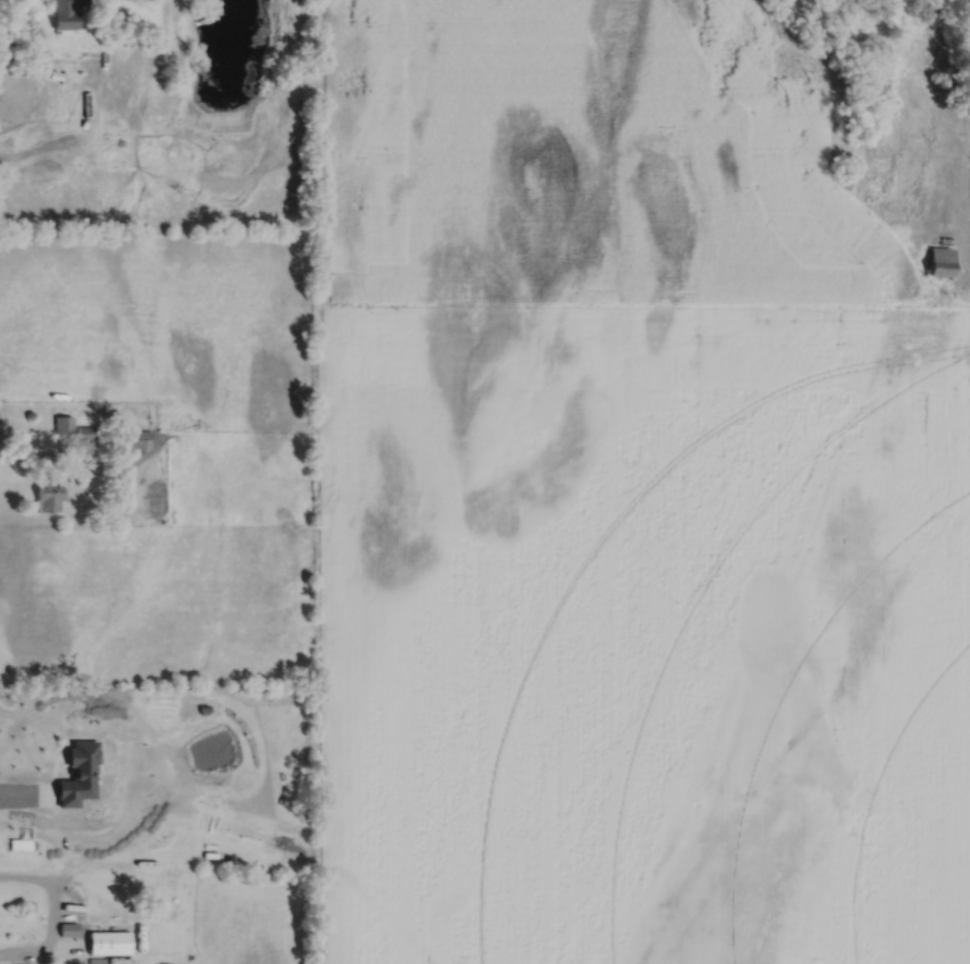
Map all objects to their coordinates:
building: (65, 12)
building: (941, 260)
building: (63, 423)
building: (86, 432)
building: (132, 437)
road: (41, 455)
building: (83, 469)
building: (49, 495)
crop: (628, 504)
building: (79, 772)
building: (21, 843)
road: (53, 913)
building: (69, 928)
building: (110, 941)
building: (98, 960)
building: (67, 962)

